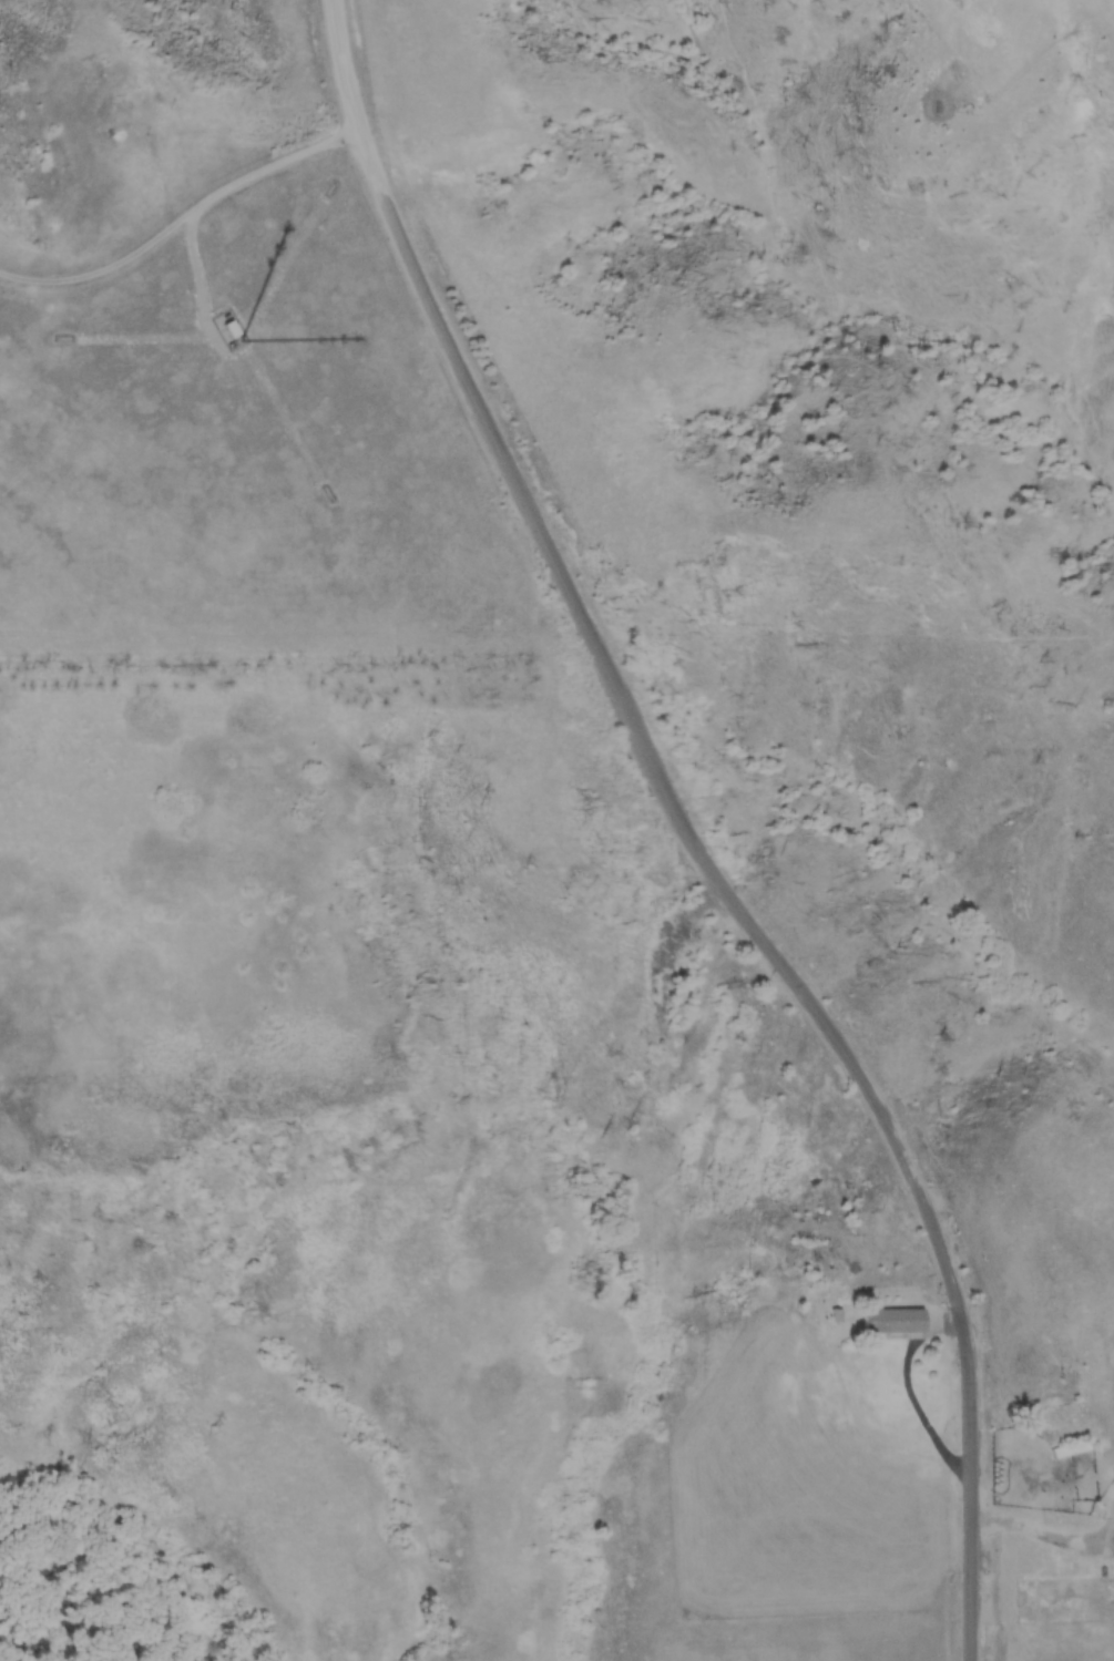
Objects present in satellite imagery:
road: (341, 91)
road: (176, 222)
building: (232, 328)
road: (744, 902)
building: (893, 1319)
building: (1071, 1447)

